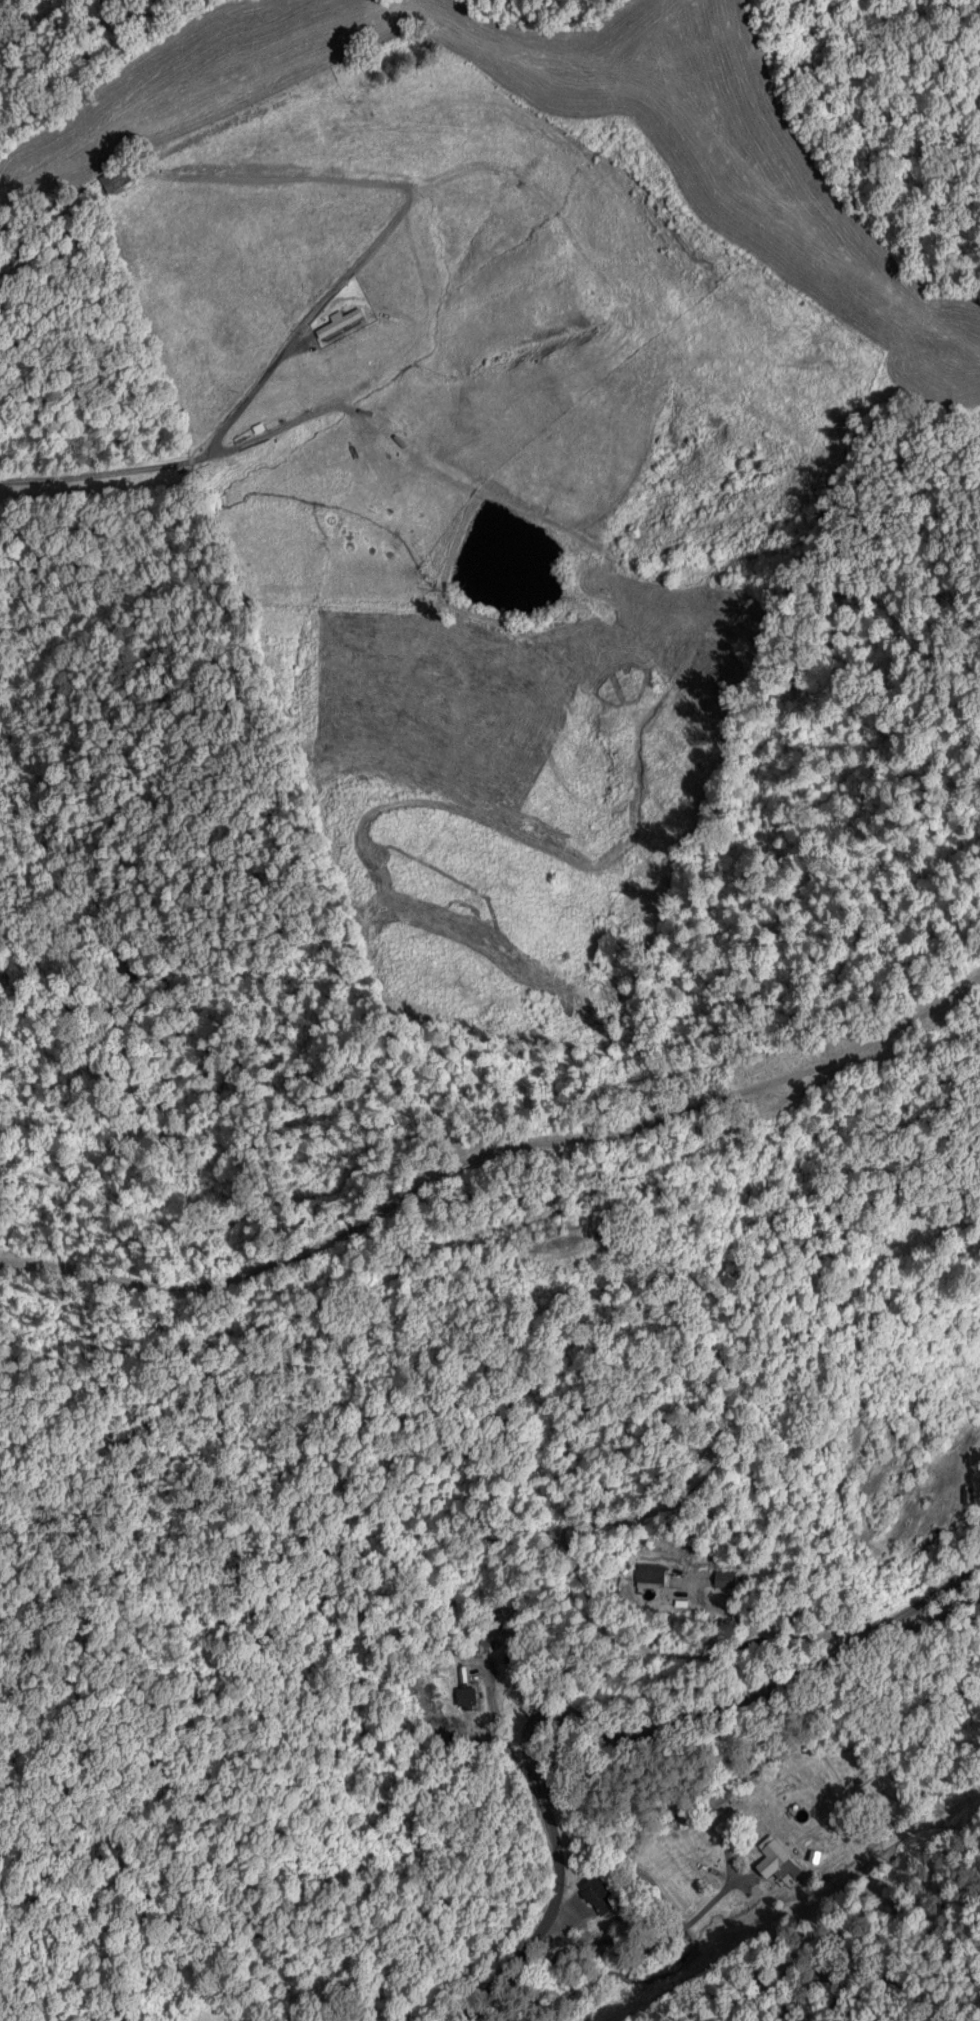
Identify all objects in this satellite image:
building: (110, 177)
building: (336, 321)
road: (242, 411)
road: (490, 1161)
building: (649, 1572)
building: (720, 1577)
road: (921, 1610)
road: (765, 1670)
building: (776, 1859)
road: (550, 1890)
building: (596, 1892)

